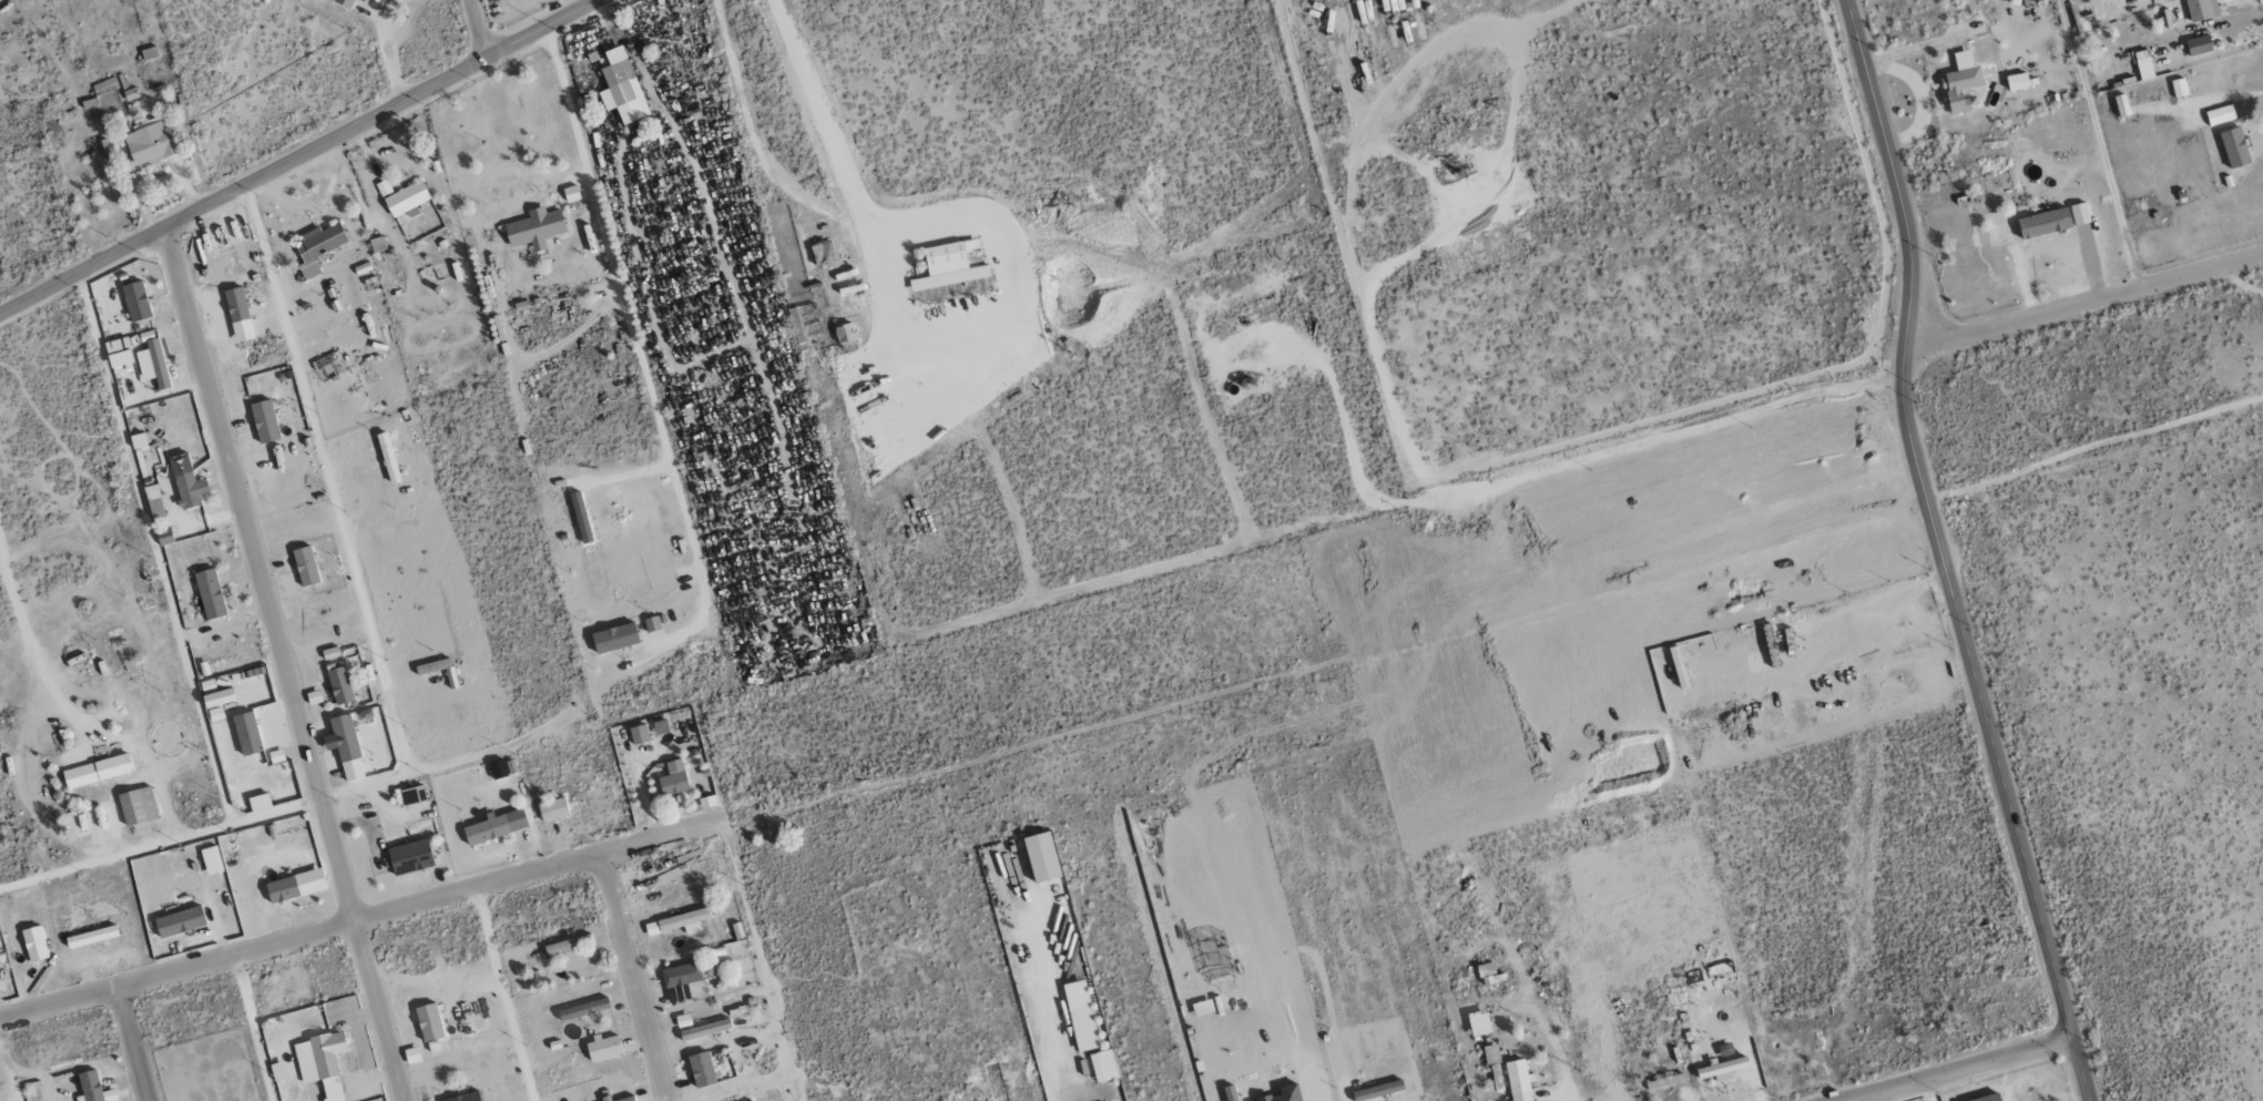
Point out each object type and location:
building: (2039, 0)
building: (346, 3)
building: (2201, 9)
road: (477, 29)
building: (2198, 45)
building: (2143, 64)
building: (618, 80)
building: (1960, 82)
building: (2018, 82)
building: (2178, 88)
building: (2121, 105)
building: (2220, 115)
building: (151, 143)
building: (2234, 147)
road: (299, 156)
building: (406, 200)
building: (2079, 214)
building: (2043, 223)
building: (534, 228)
building: (316, 249)
building: (823, 255)
building: (948, 266)
building: (135, 300)
road: (2079, 302)
road: (623, 305)
building: (238, 315)
building: (844, 333)
building: (112, 346)
building: (157, 363)
building: (264, 421)
building: (137, 441)
building: (190, 489)
building: (154, 501)
building: (581, 518)
road: (1937, 518)
road: (342, 519)
building: (305, 565)
building: (210, 594)
building: (652, 624)
building: (614, 639)
road: (284, 663)
building: (1678, 666)
building: (339, 685)
building: (210, 693)
building: (246, 733)
building: (639, 734)
building: (346, 746)
building: (96, 771)
building: (673, 778)
building: (410, 796)
building: (258, 802)
building: (136, 806)
building: (552, 809)
building: (495, 826)
building: (410, 857)
building: (211, 860)
building: (295, 886)
road: (363, 919)
building: (179, 921)
building: (679, 921)
building: (91, 937)
building: (33, 944)
building: (568, 944)
building: (1487, 972)
road: (636, 977)
building: (680, 981)
road: (1051, 1001)
building: (583, 1008)
building: (1080, 1016)
building: (428, 1021)
building: (1478, 1022)
building: (705, 1029)
road: (133, 1044)
building: (1490, 1053)
building: (411, 1054)
building: (320, 1062)
building: (1103, 1066)
building: (1721, 1067)
road: (1953, 1067)
road: (2083, 1067)
building: (701, 1069)
building: (277, 1071)
building: (1495, 1073)
building: (1518, 1080)
building: (1664, 1081)
building: (92, 1088)
building: (1377, 1090)
building: (465, 1097)
building: (1986, 1098)
building: (622, 1099)

